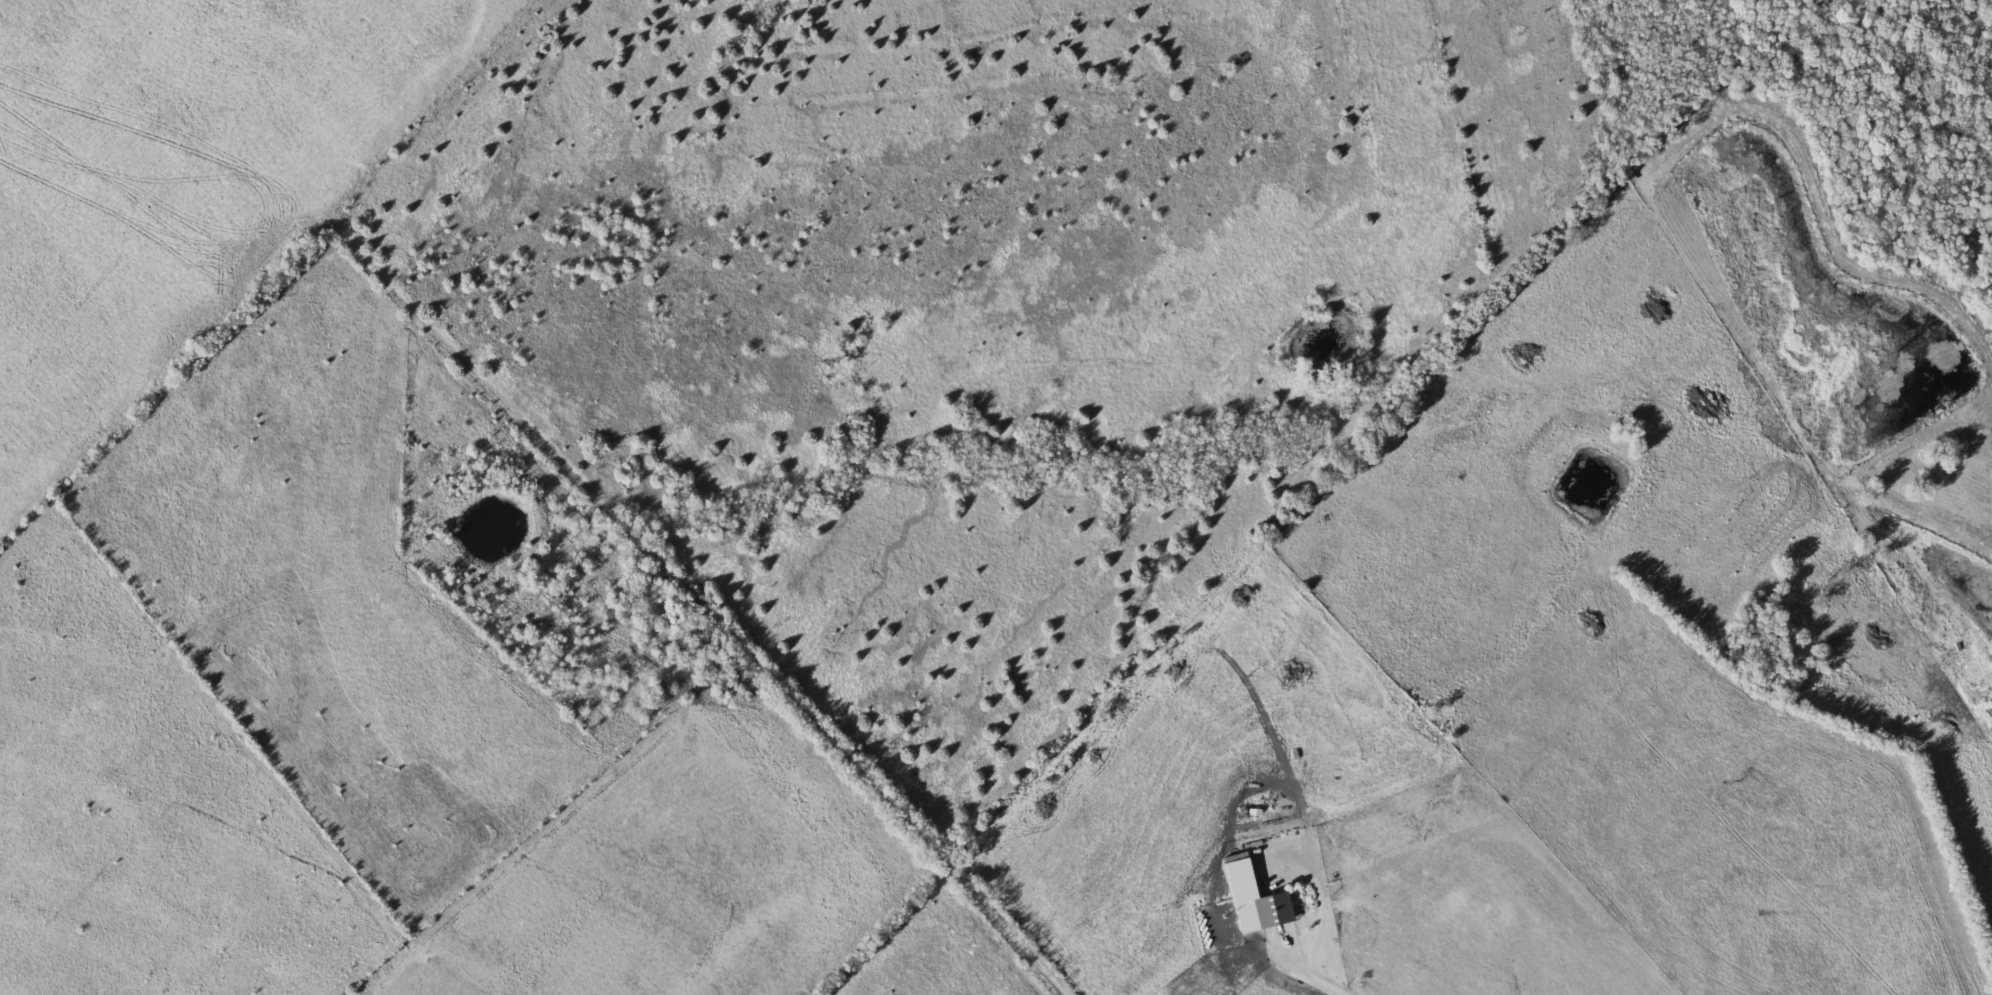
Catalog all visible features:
building: (1277, 911)
road: (1325, 987)

